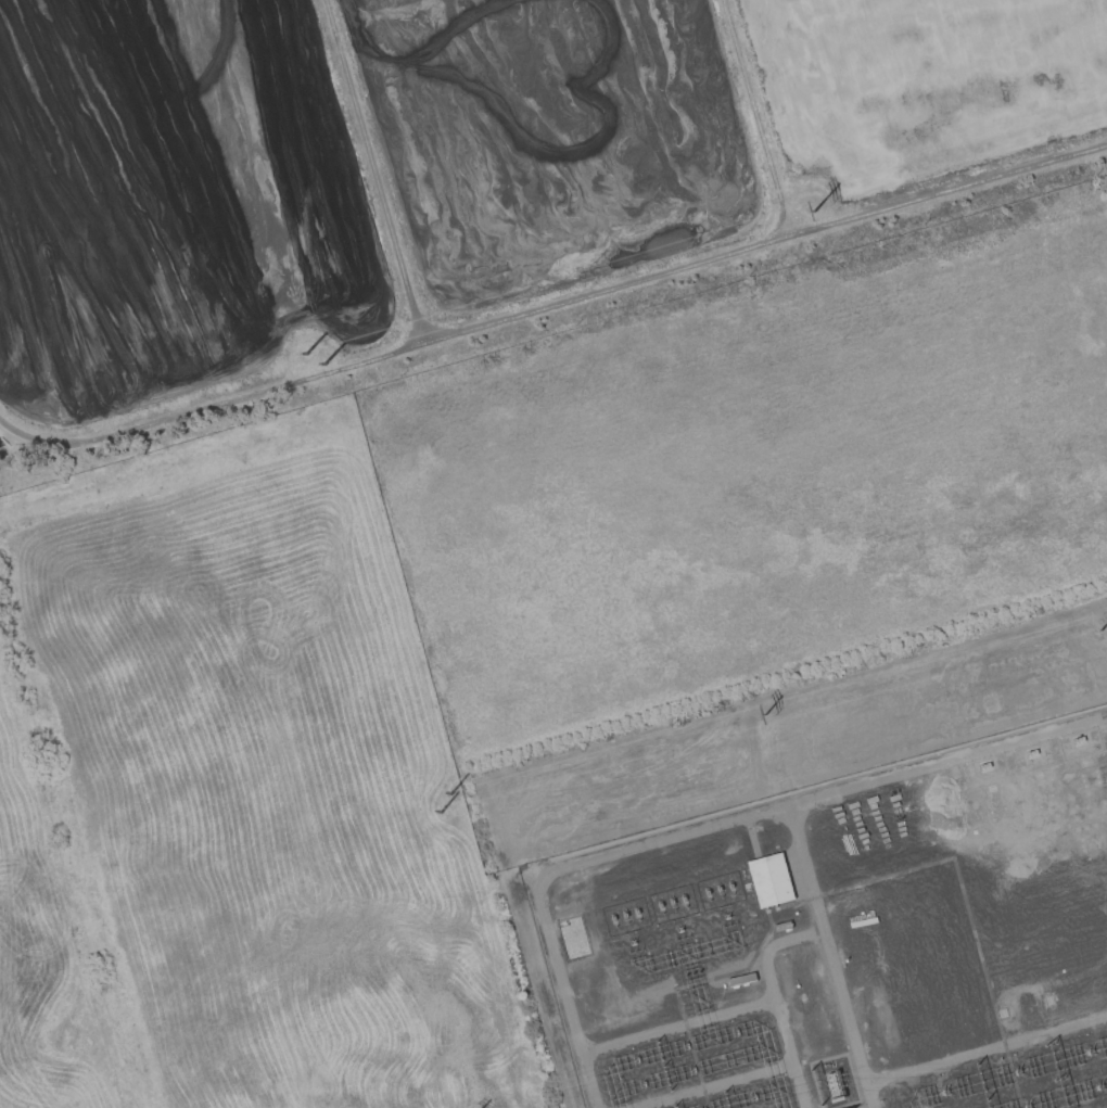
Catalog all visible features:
power tower: (815, 212)
power tower: (305, 355)
power tower: (326, 366)
crop: (759, 479)
power tower: (1102, 628)
building: (771, 879)
power substation: (841, 941)

